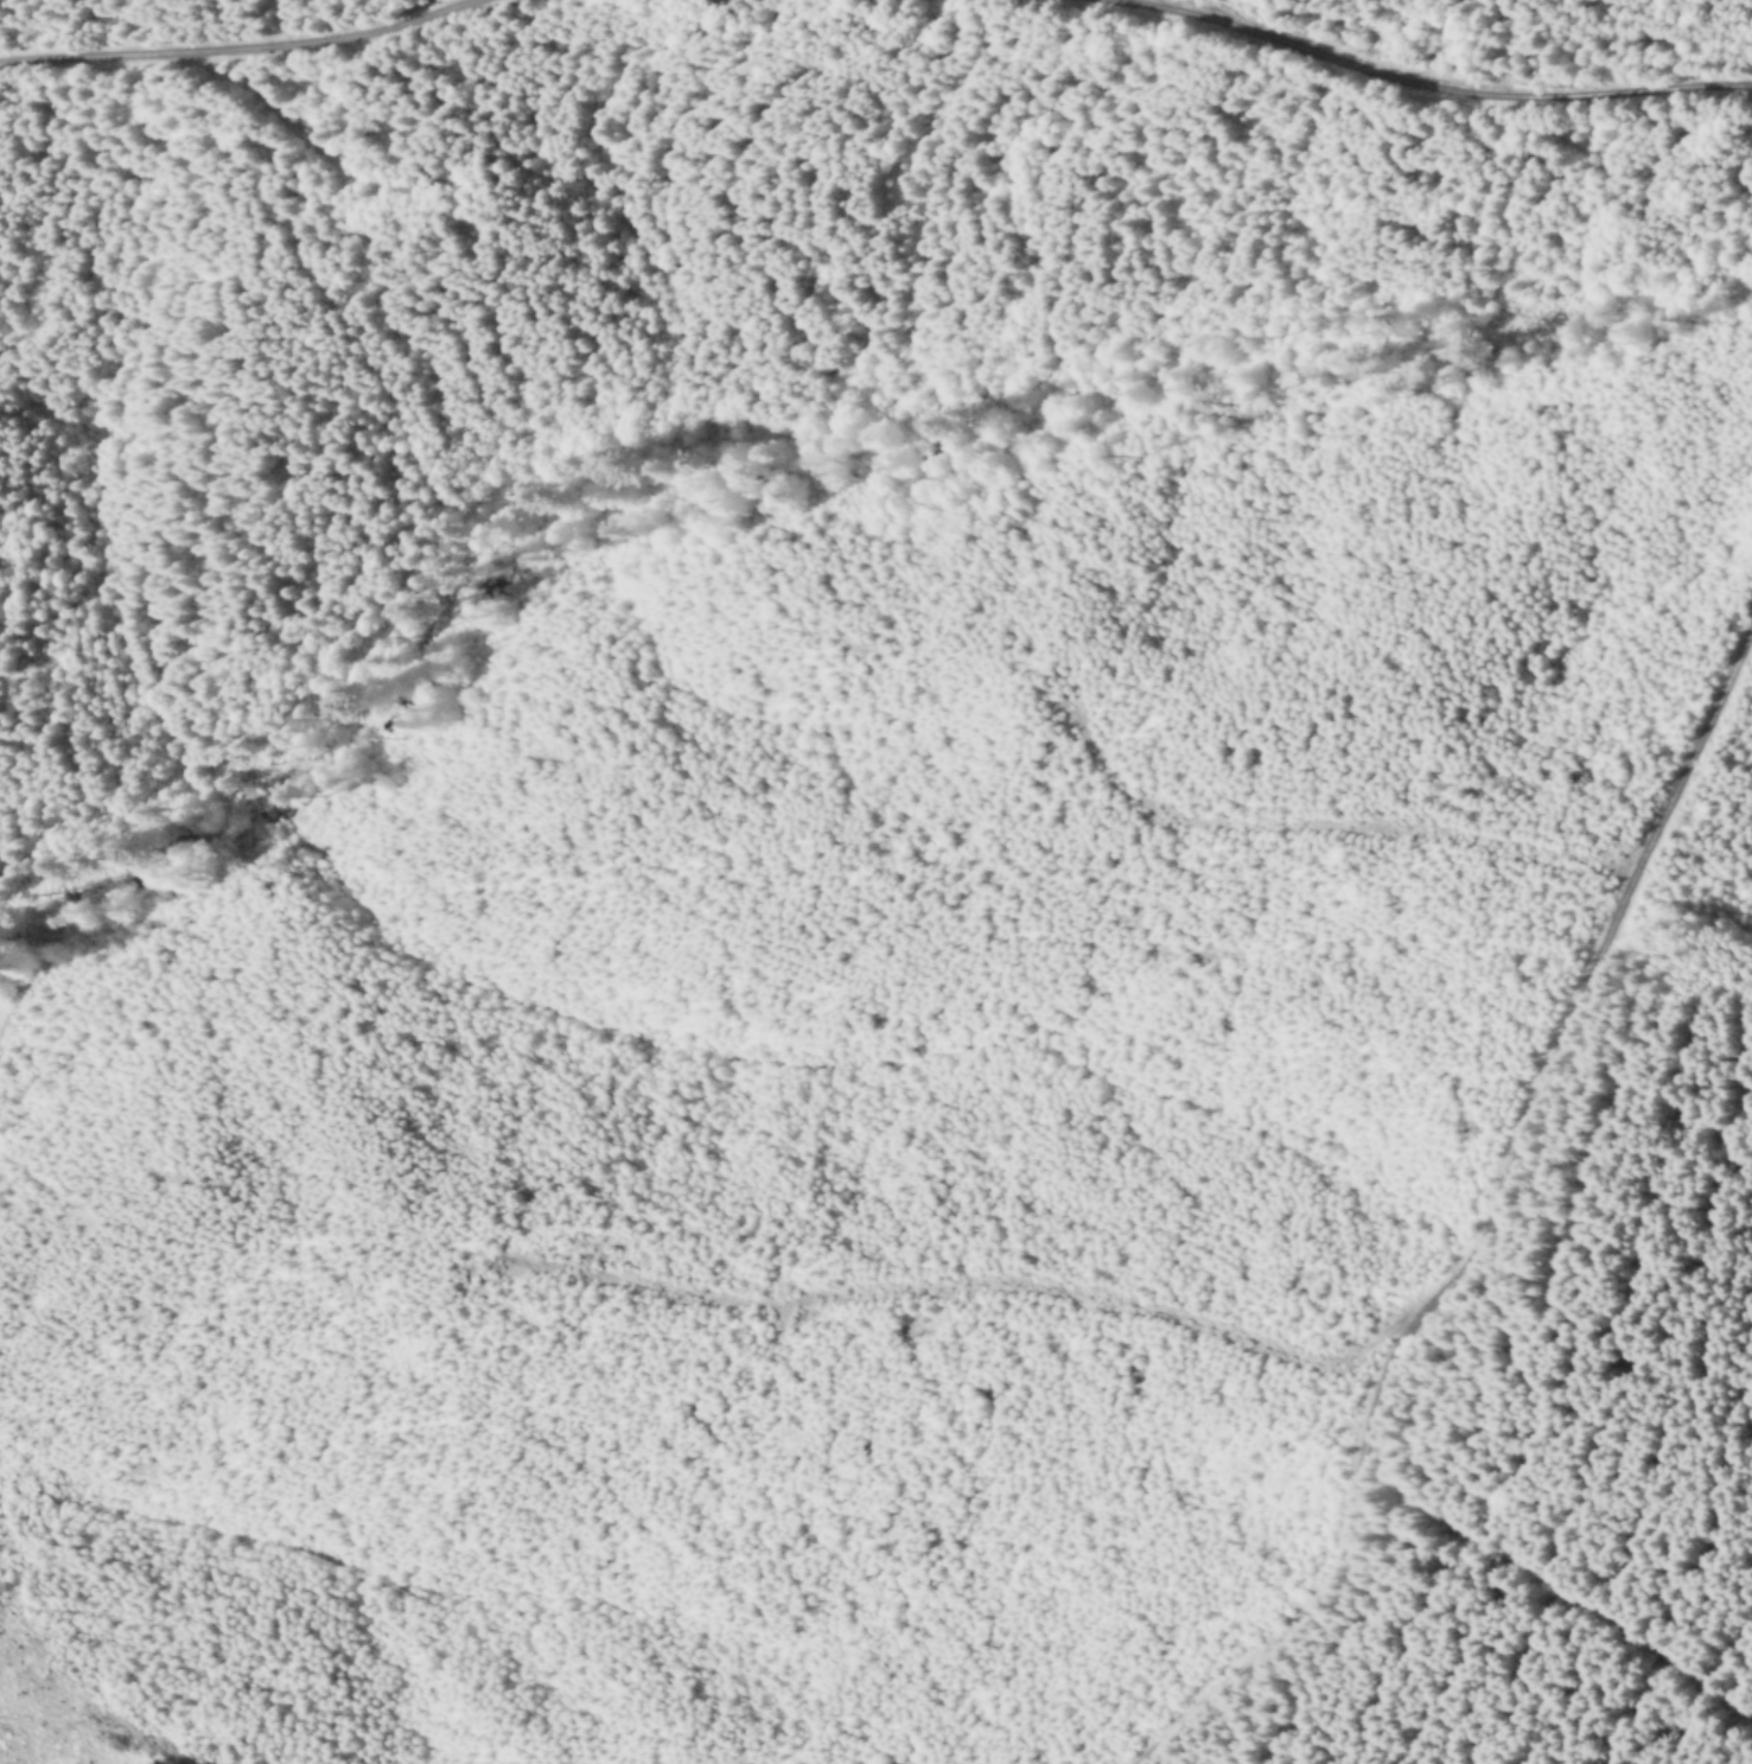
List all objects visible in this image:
road: (297, 40)

